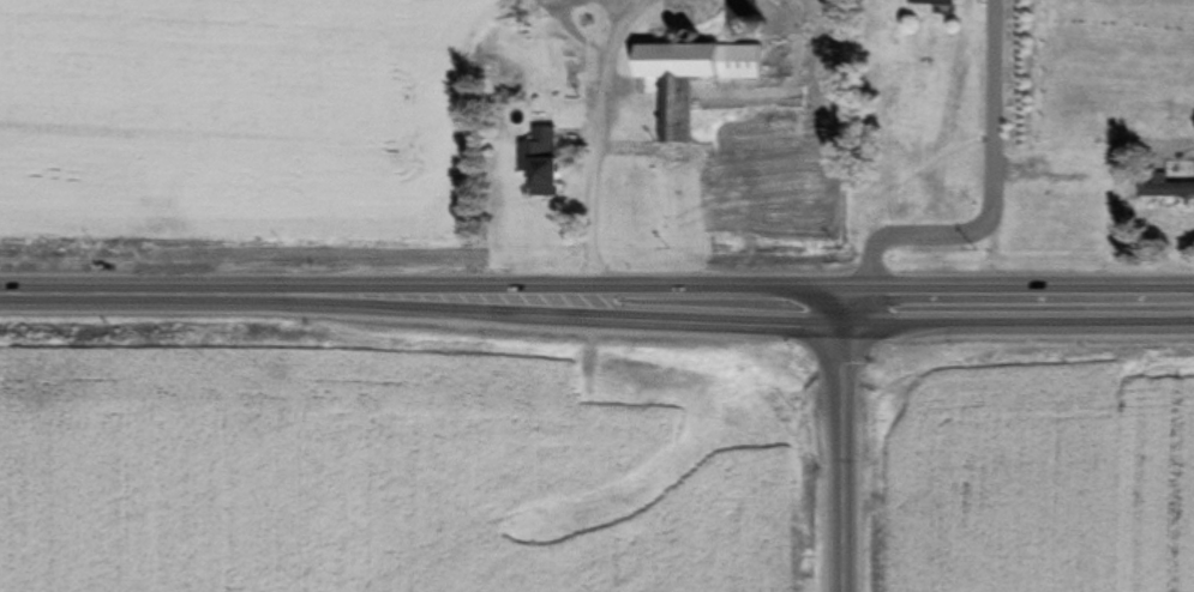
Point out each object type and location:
building: (930, 2)
building: (742, 17)
road: (612, 40)
road: (576, 41)
building: (686, 78)
building: (540, 163)
road: (592, 183)
building: (1164, 189)
road: (992, 195)
road: (689, 290)
road: (92, 294)
road: (689, 318)
road: (846, 441)

